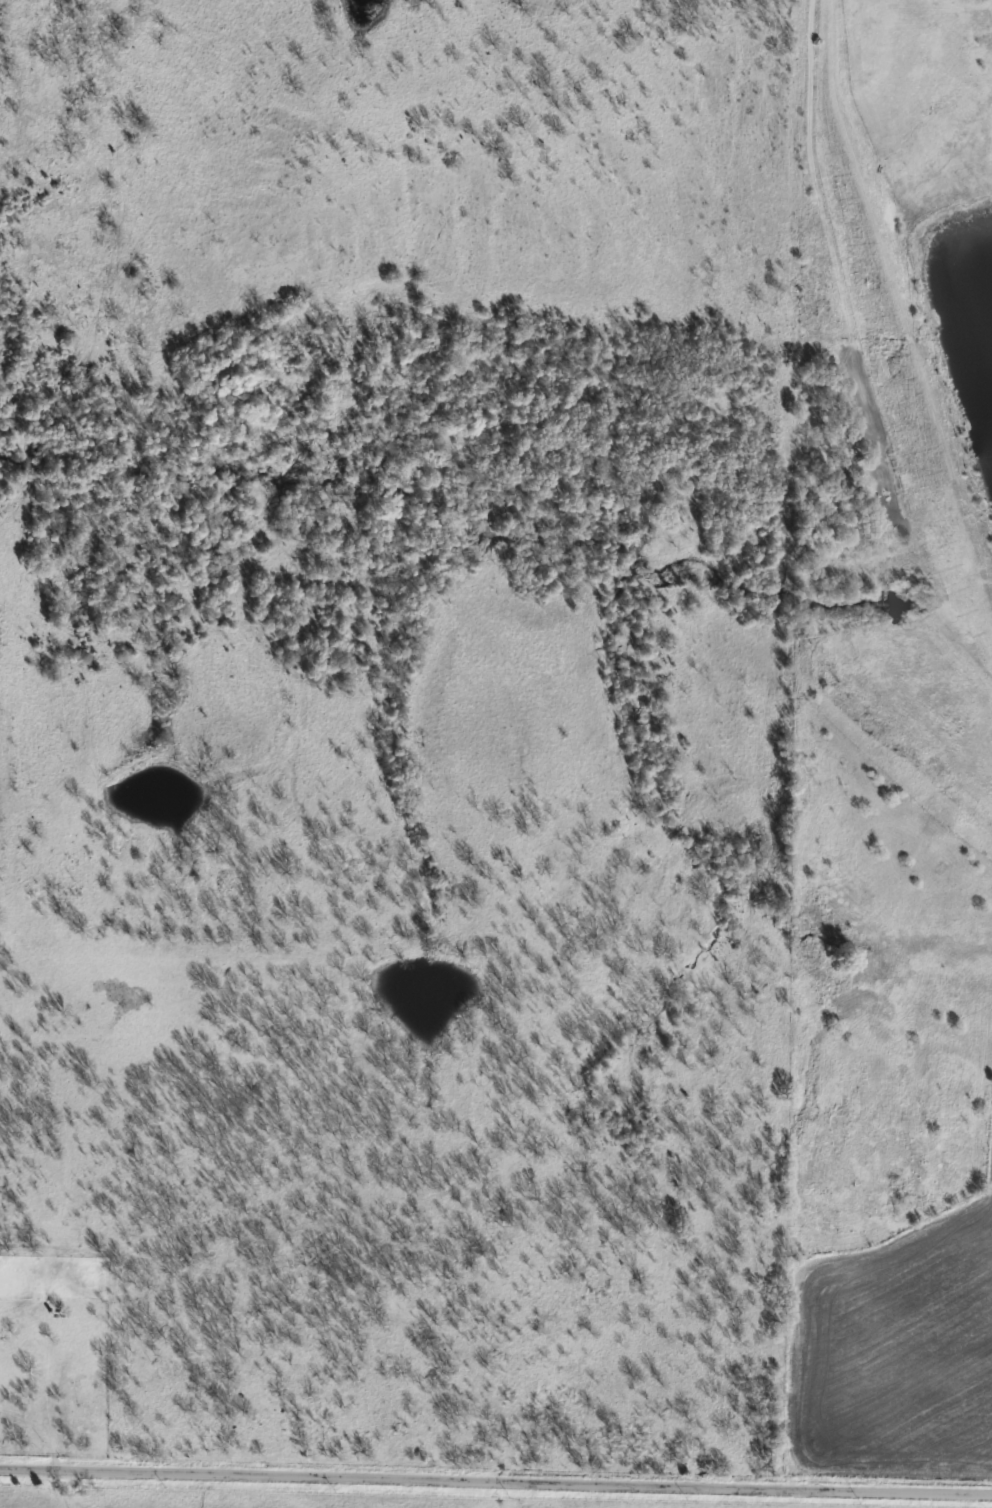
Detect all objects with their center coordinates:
road: (496, 1482)

